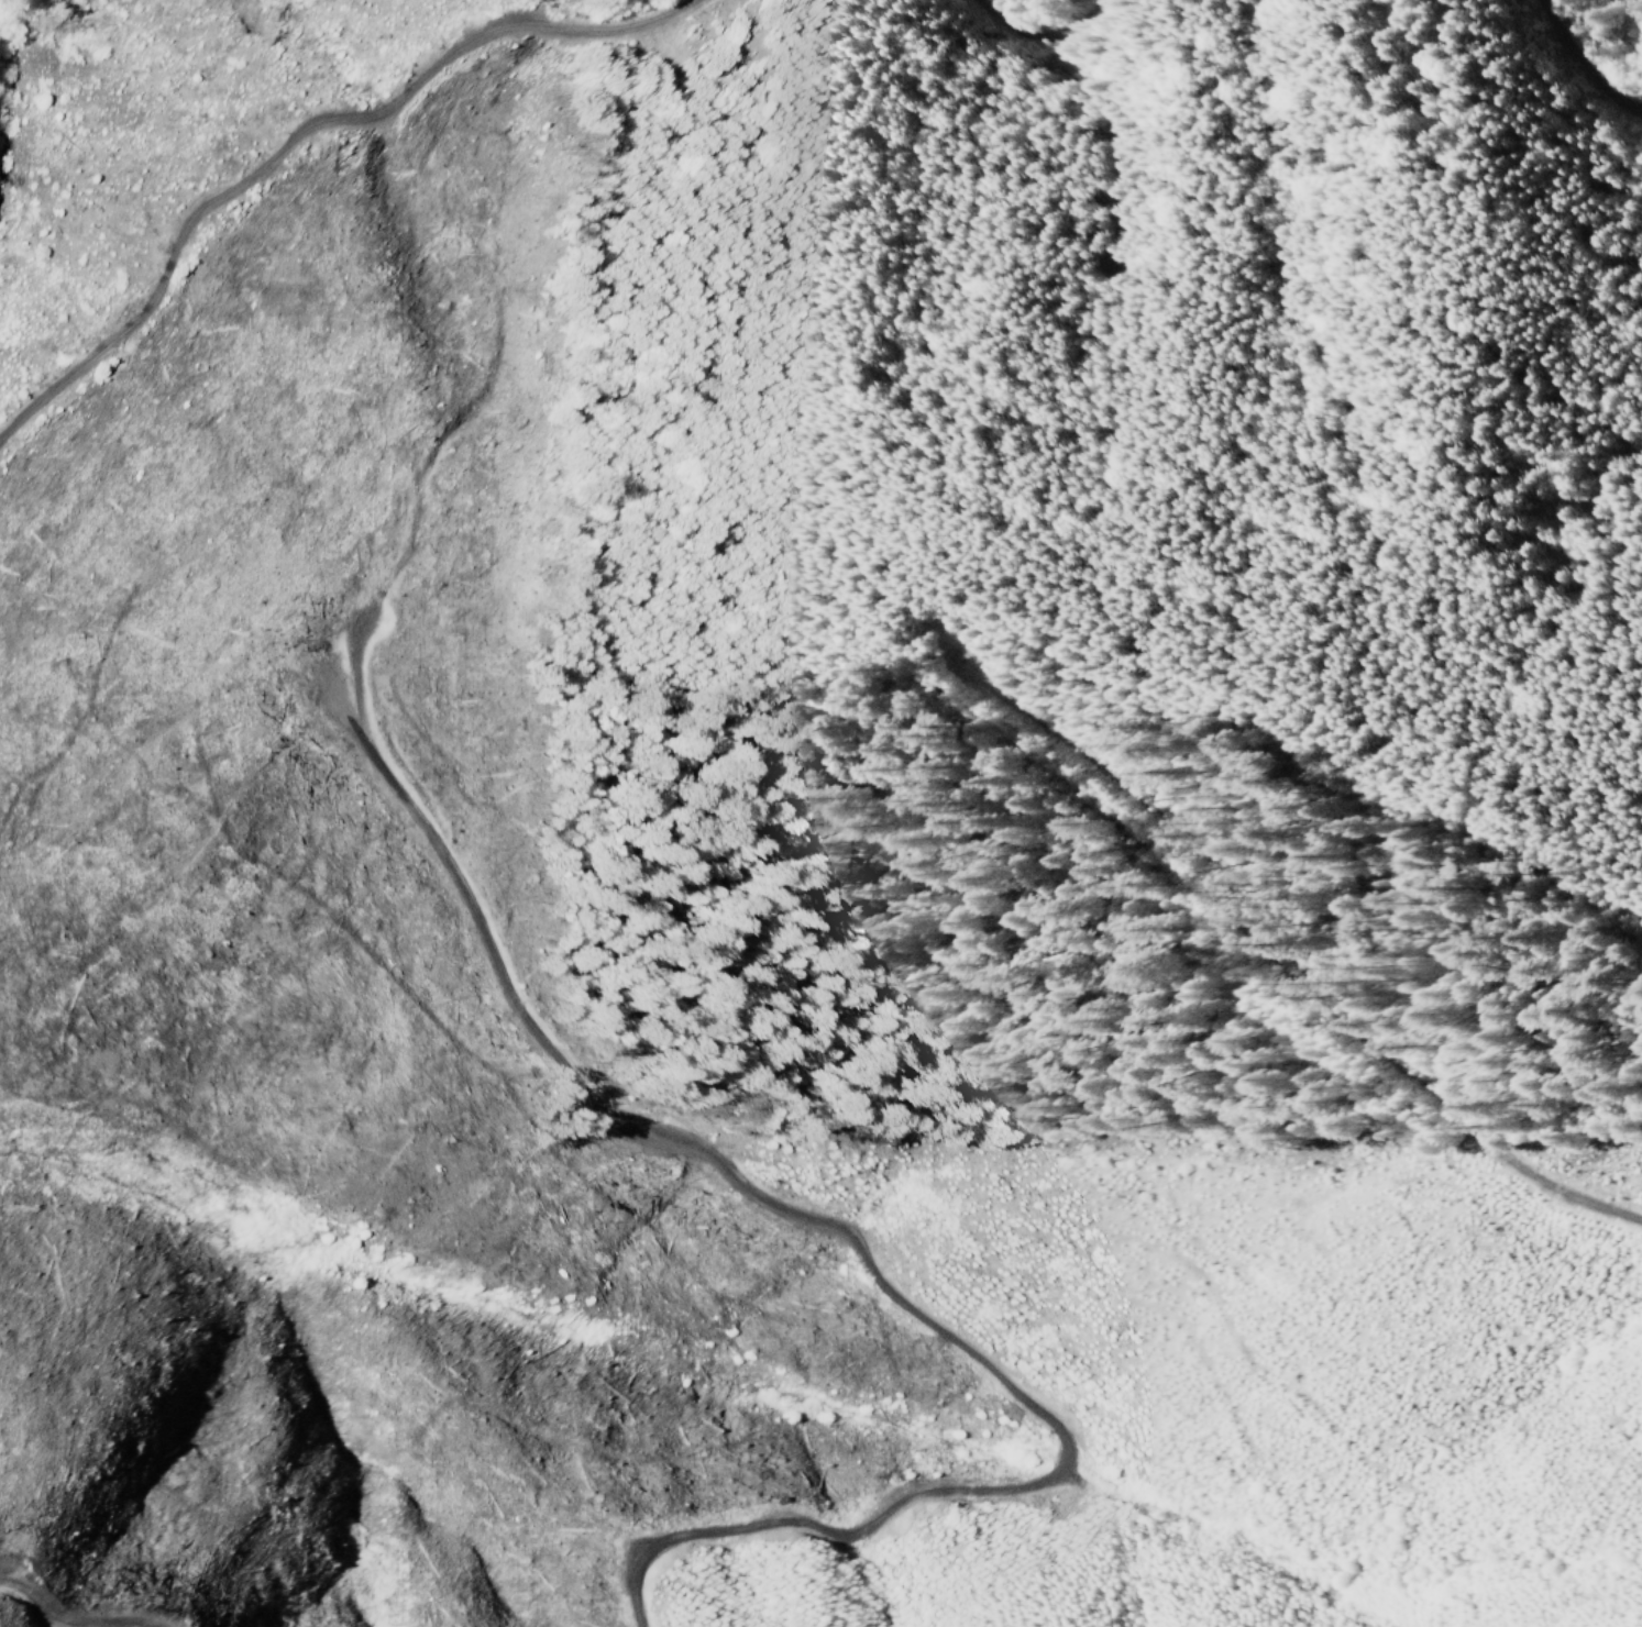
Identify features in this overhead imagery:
road: (1024, 37)
road: (1578, 65)
road: (290, 133)
road: (1286, 970)

